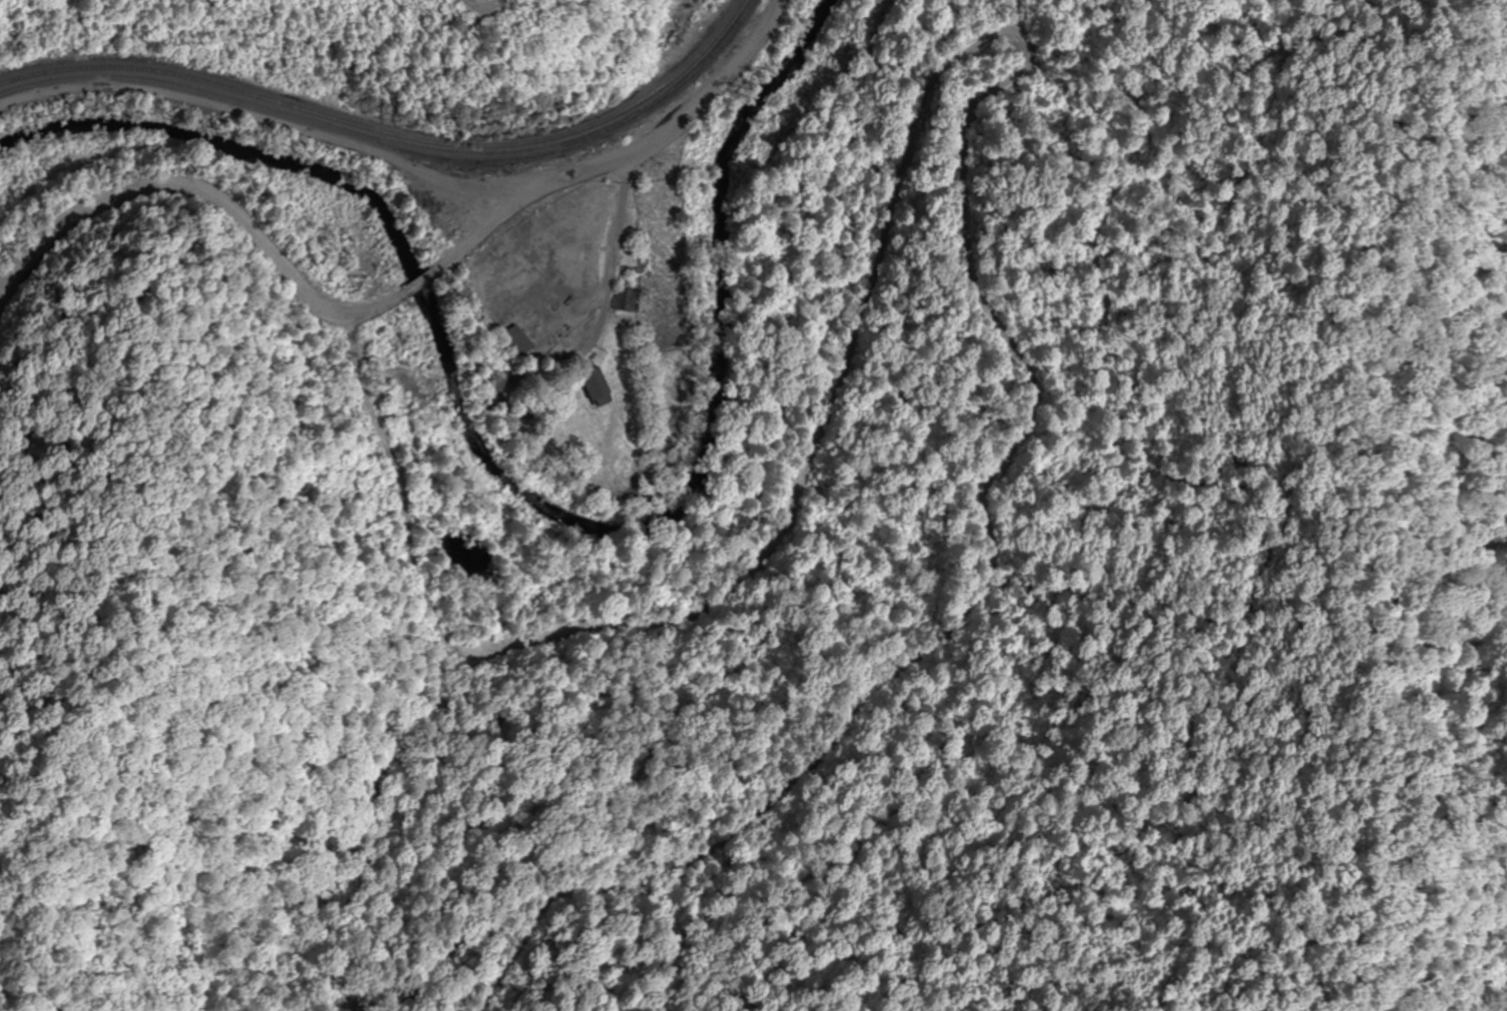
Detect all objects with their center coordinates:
railway: (389, 133)
road: (400, 299)
building: (624, 299)
building: (513, 340)
building: (591, 385)

